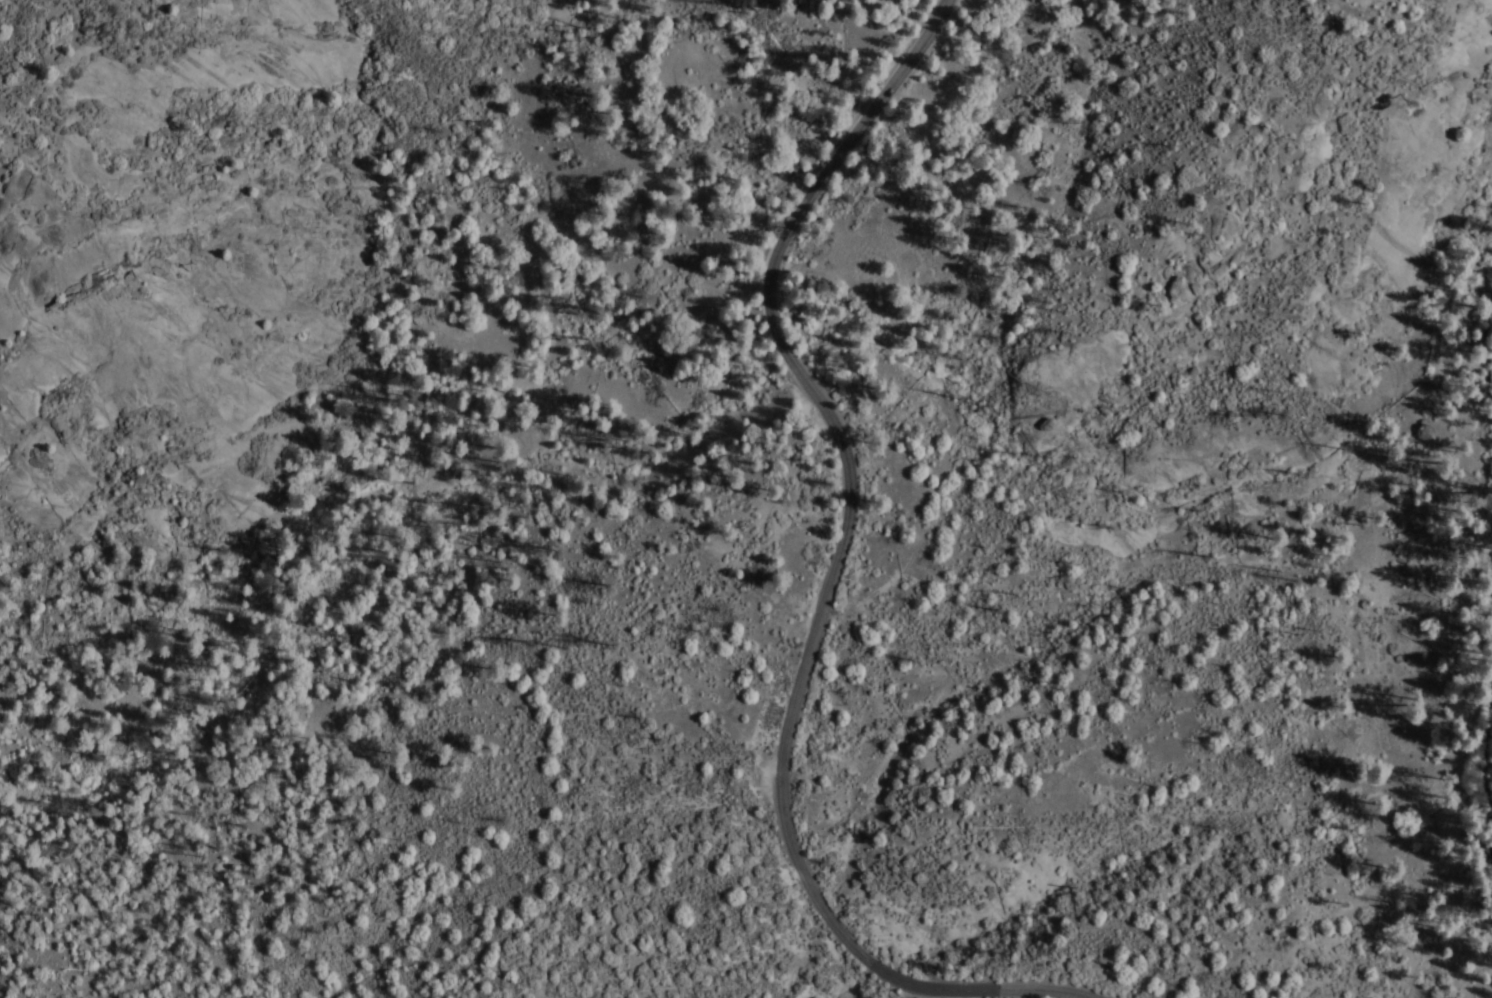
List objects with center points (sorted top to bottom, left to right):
parking lot: (949, 2)
road: (828, 579)

